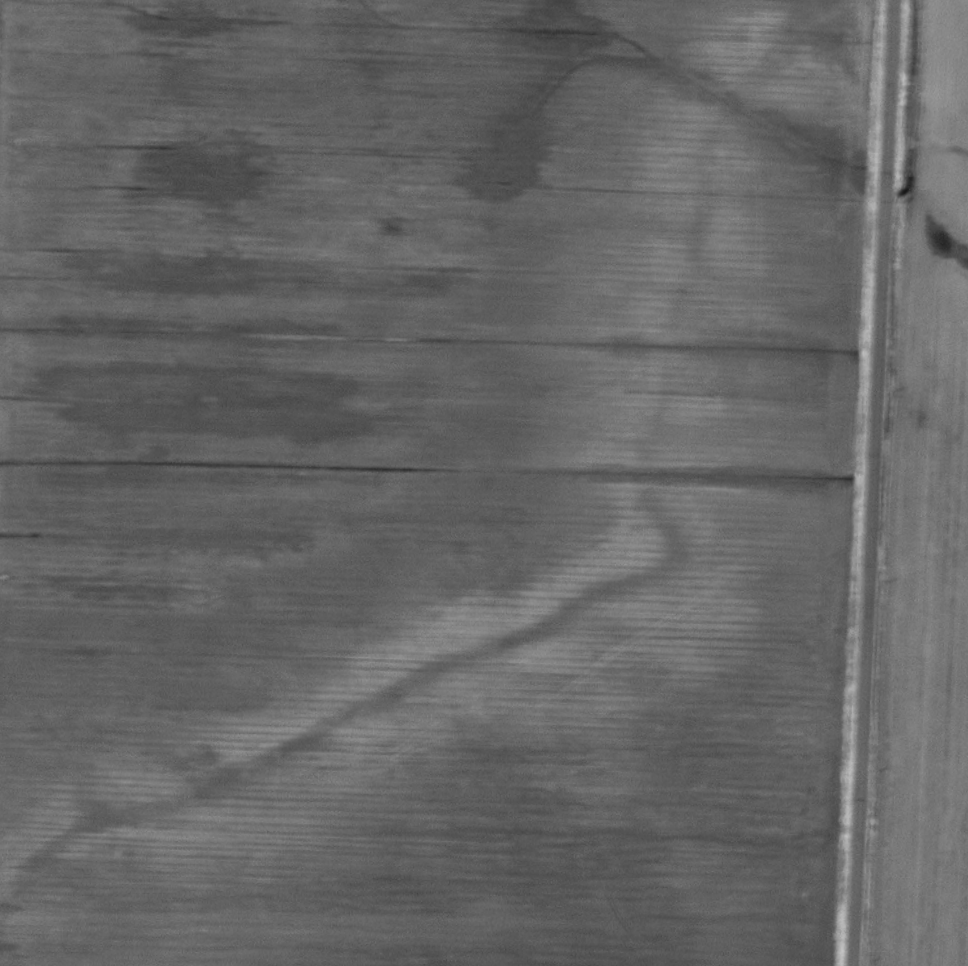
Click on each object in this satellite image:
crop: (431, 478)
road: (873, 483)
crop: (924, 533)

